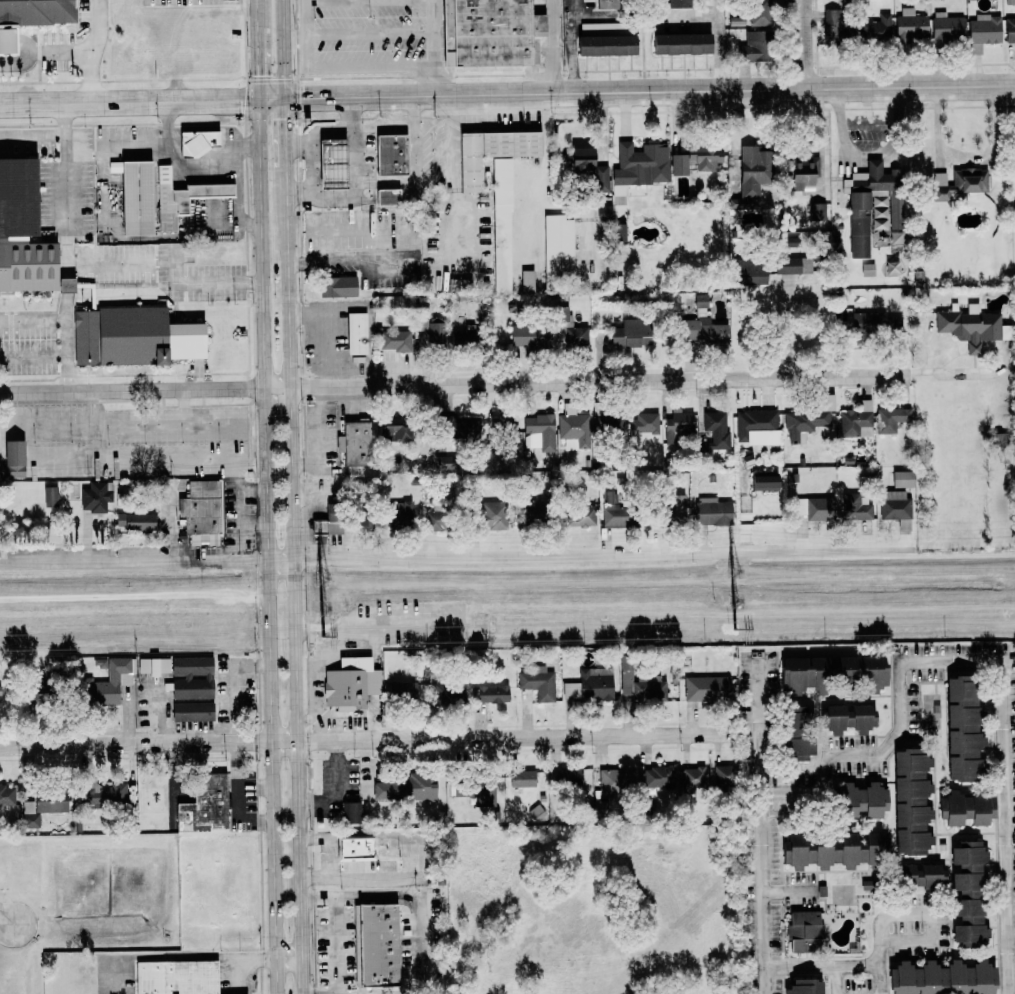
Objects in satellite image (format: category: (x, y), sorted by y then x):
road: (372, 2)
building: (603, 3)
building: (678, 3)
building: (33, 11)
building: (759, 12)
road: (259, 14)
road: (591, 16)
road: (693, 16)
building: (833, 25)
building: (910, 25)
building: (946, 26)
building: (874, 29)
building: (1009, 29)
building: (592, 30)
building: (487, 32)
building: (983, 32)
road: (373, 34)
road: (723, 43)
building: (680, 44)
road: (803, 44)
building: (605, 45)
road: (556, 46)
road: (573, 46)
road: (437, 47)
building: (753, 47)
road: (283, 48)
road: (96, 50)
road: (46, 52)
road: (260, 62)
road: (339, 67)
road: (649, 90)
road: (279, 97)
road: (137, 100)
road: (898, 105)
road: (836, 106)
road: (867, 126)
road: (333, 130)
road: (285, 131)
road: (821, 133)
road: (894, 133)
road: (842, 134)
road: (34, 141)
building: (197, 142)
building: (491, 152)
building: (390, 154)
road: (868, 154)
road: (355, 156)
road: (964, 157)
building: (696, 159)
road: (174, 160)
building: (581, 161)
building: (331, 163)
road: (68, 164)
building: (641, 164)
building: (753, 170)
building: (803, 173)
building: (601, 179)
building: (959, 182)
road: (393, 183)
road: (237, 185)
building: (134, 196)
building: (181, 197)
building: (387, 197)
building: (742, 202)
building: (864, 204)
building: (817, 211)
building: (894, 211)
building: (604, 213)
building: (502, 225)
road: (339, 229)
building: (22, 232)
building: (621, 232)
road: (369, 244)
building: (558, 247)
road: (329, 261)
building: (787, 265)
building: (868, 269)
building: (748, 273)
road: (202, 281)
building: (527, 281)
building: (64, 285)
building: (337, 286)
building: (875, 323)
road: (63, 325)
building: (703, 325)
building: (971, 326)
building: (431, 327)
road: (788, 327)
building: (569, 328)
building: (356, 333)
building: (631, 333)
building: (529, 336)
building: (132, 337)
building: (466, 338)
building: (395, 340)
road: (32, 355)
road: (595, 380)
road: (138, 389)
building: (809, 418)
building: (680, 420)
building: (891, 420)
building: (857, 421)
building: (644, 423)
building: (611, 424)
building: (757, 427)
building: (394, 429)
building: (459, 430)
building: (573, 431)
building: (539, 432)
building: (714, 433)
building: (998, 439)
building: (354, 441)
road: (227, 451)
building: (13, 458)
building: (903, 479)
building: (764, 482)
road: (254, 489)
building: (50, 497)
building: (95, 498)
building: (814, 508)
building: (855, 508)
building: (896, 508)
building: (616, 509)
building: (675, 510)
building: (201, 512)
building: (713, 513)
building: (529, 514)
building: (399, 515)
building: (489, 516)
building: (580, 516)
building: (436, 517)
building: (361, 518)
road: (254, 521)
building: (134, 522)
building: (323, 526)
road: (269, 545)
road: (599, 546)
road: (140, 553)
power tower: (732, 573)
power tower: (322, 579)
road: (294, 580)
road: (135, 600)
power tower: (322, 605)
power tower: (734, 627)
power tower: (323, 637)
road: (994, 660)
building: (154, 666)
building: (831, 672)
building: (191, 677)
building: (538, 682)
building: (346, 683)
building: (639, 683)
building: (106, 684)
building: (590, 685)
road: (233, 687)
building: (707, 689)
building: (401, 690)
building: (447, 692)
building: (492, 694)
building: (192, 711)
building: (848, 719)
building: (961, 730)
building: (797, 734)
road: (509, 737)
road: (142, 743)
road: (173, 769)
building: (723, 776)
building: (570, 777)
building: (522, 778)
building: (658, 779)
building: (617, 780)
building: (693, 780)
road: (267, 784)
building: (407, 787)
road: (337, 789)
building: (482, 792)
building: (100, 793)
building: (7, 795)
road: (234, 798)
building: (861, 801)
building: (911, 801)
building: (42, 805)
building: (204, 805)
building: (965, 809)
building: (352, 812)
road: (762, 825)
building: (354, 848)
building: (832, 850)
road: (412, 857)
road: (329, 858)
building: (918, 875)
road: (790, 892)
building: (966, 892)
road: (409, 896)
road: (7, 918)
road: (932, 918)
building: (804, 932)
building: (377, 945)
road: (335, 946)
road: (291, 957)
road: (246, 961)
road: (822, 966)
road: (880, 967)
building: (176, 977)
building: (941, 978)
road: (837, 980)
building: (803, 987)

